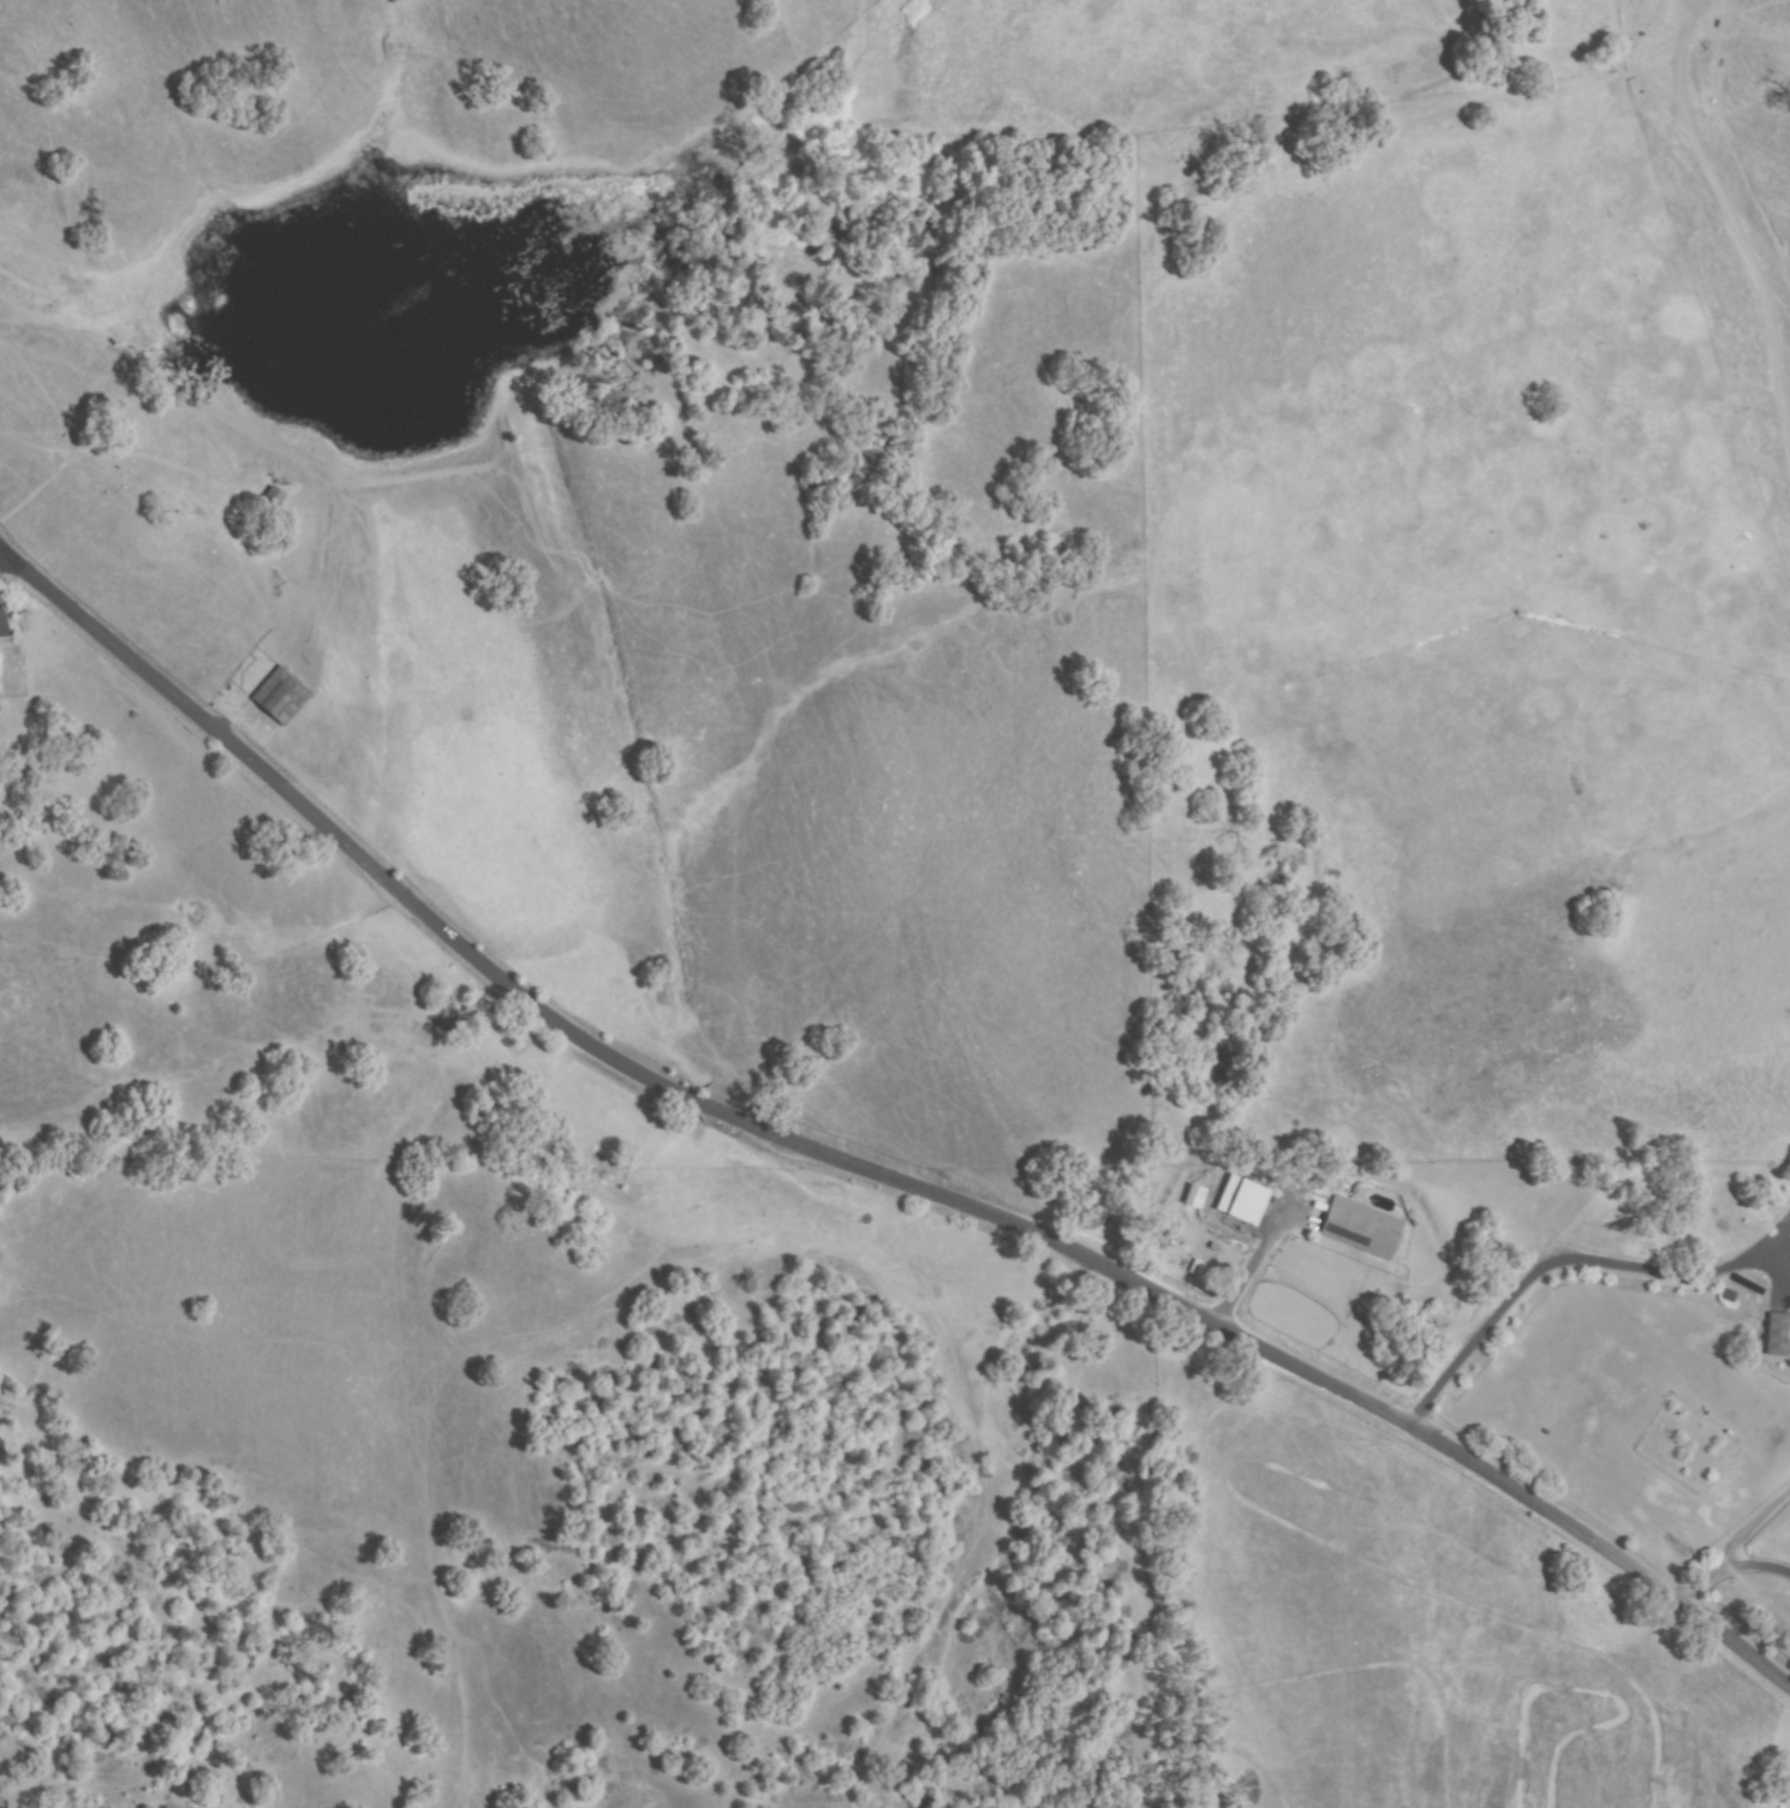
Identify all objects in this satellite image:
building: (282, 497)
building: (272, 501)
building: (281, 697)
road: (858, 1170)
building: (1246, 1204)
building: (1360, 1229)
building: (1776, 1335)

